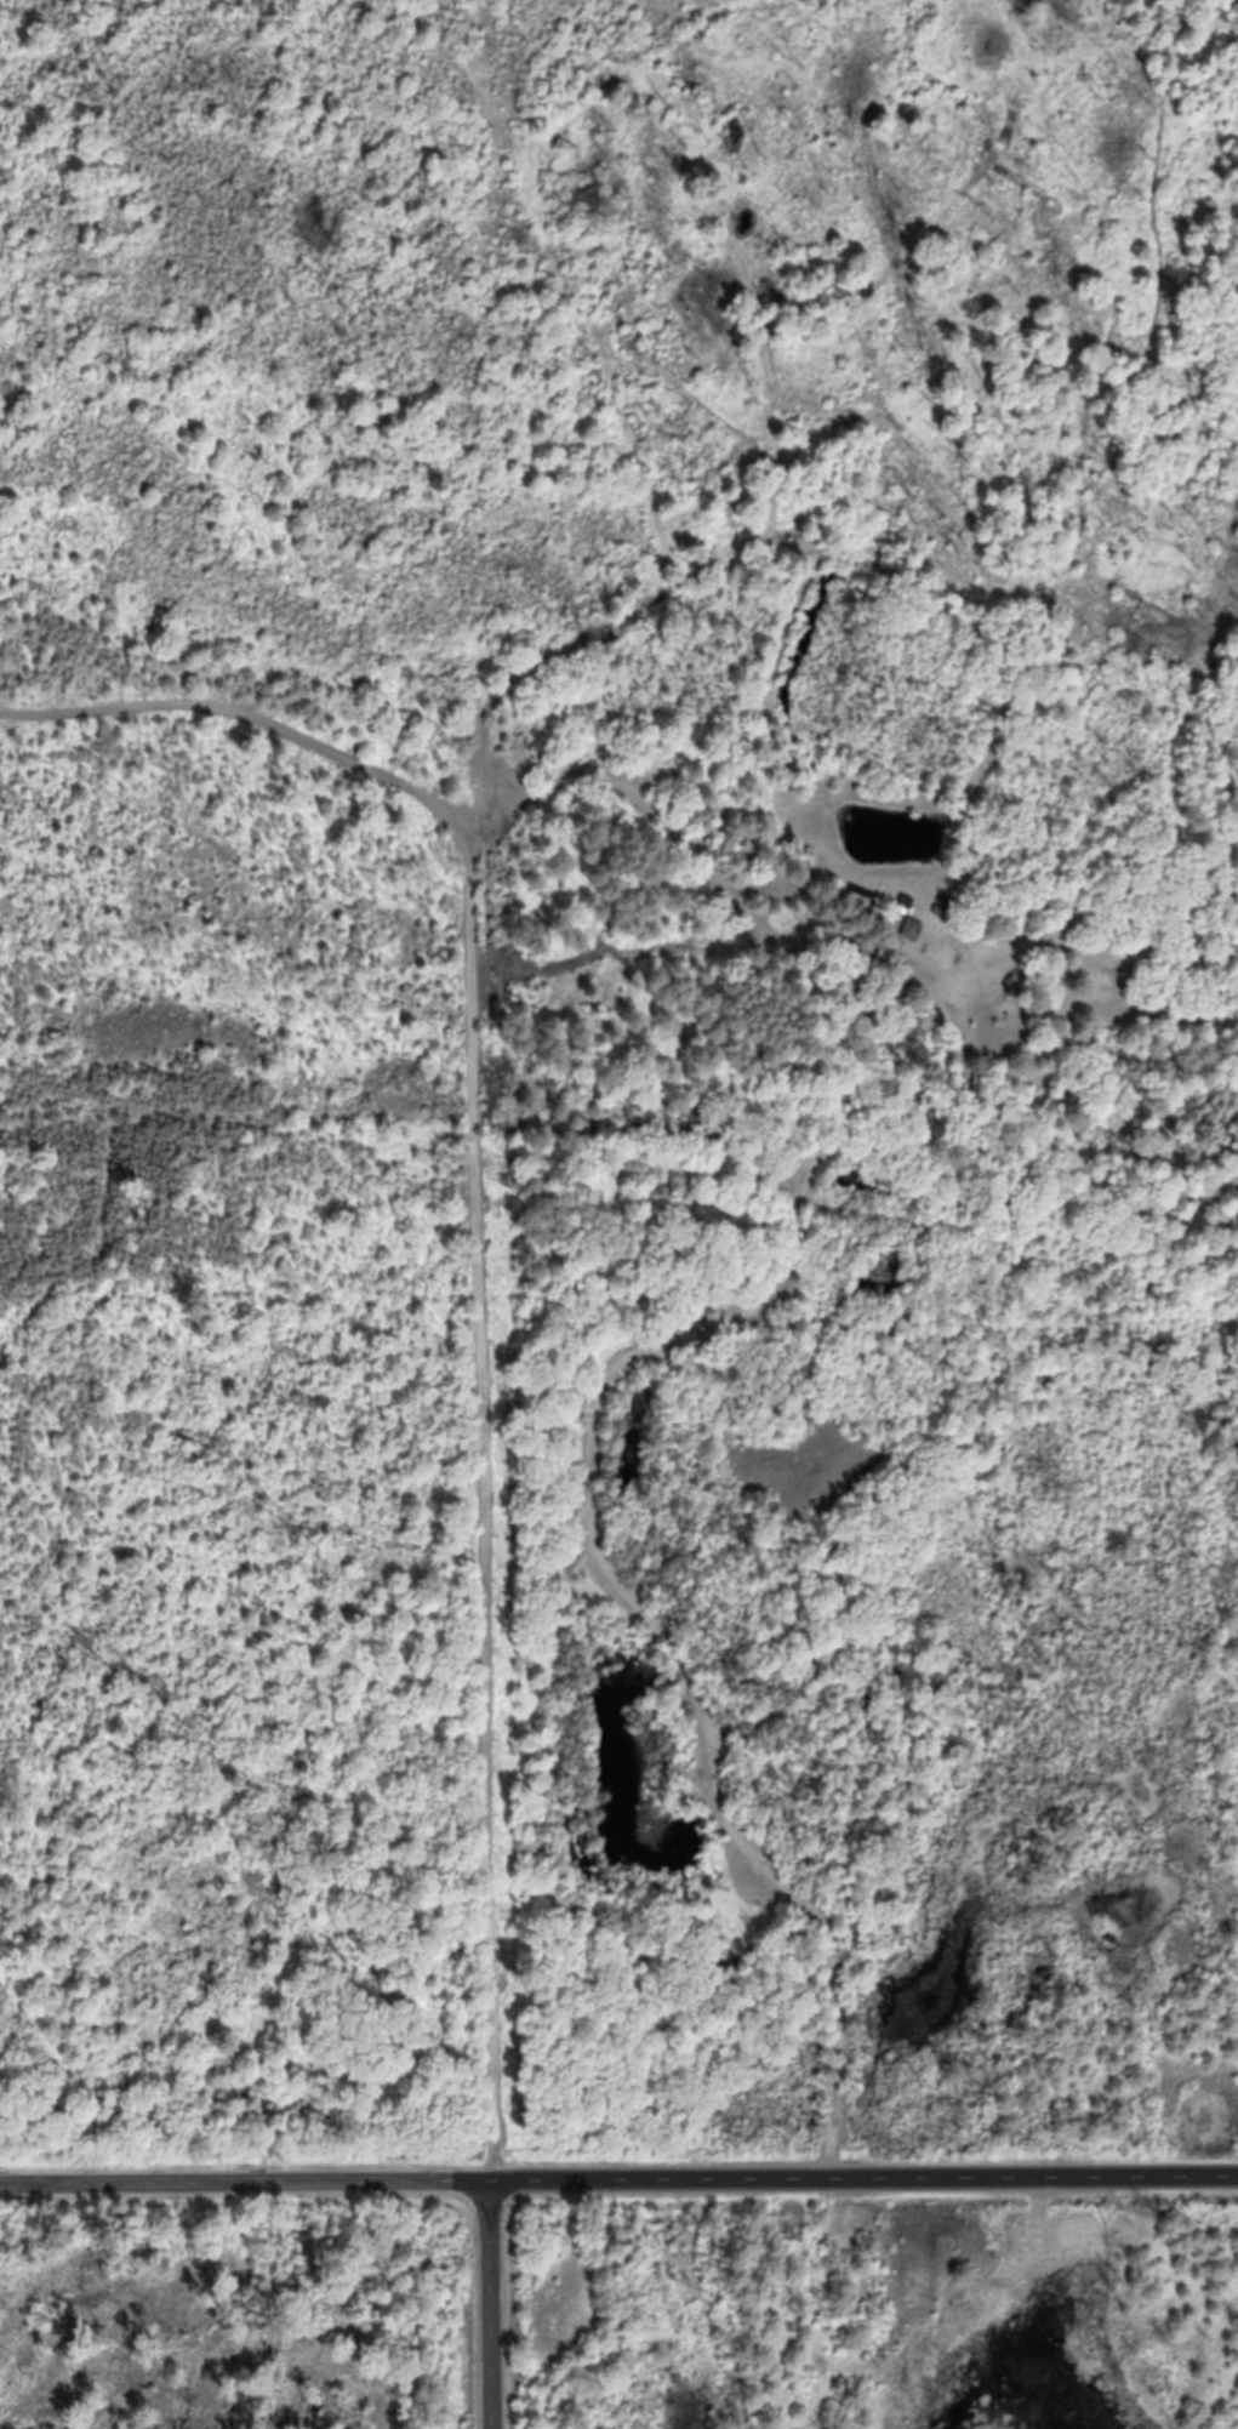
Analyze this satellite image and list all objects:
road: (843, 888)
building: (907, 925)
road: (618, 2155)
road: (472, 2292)

